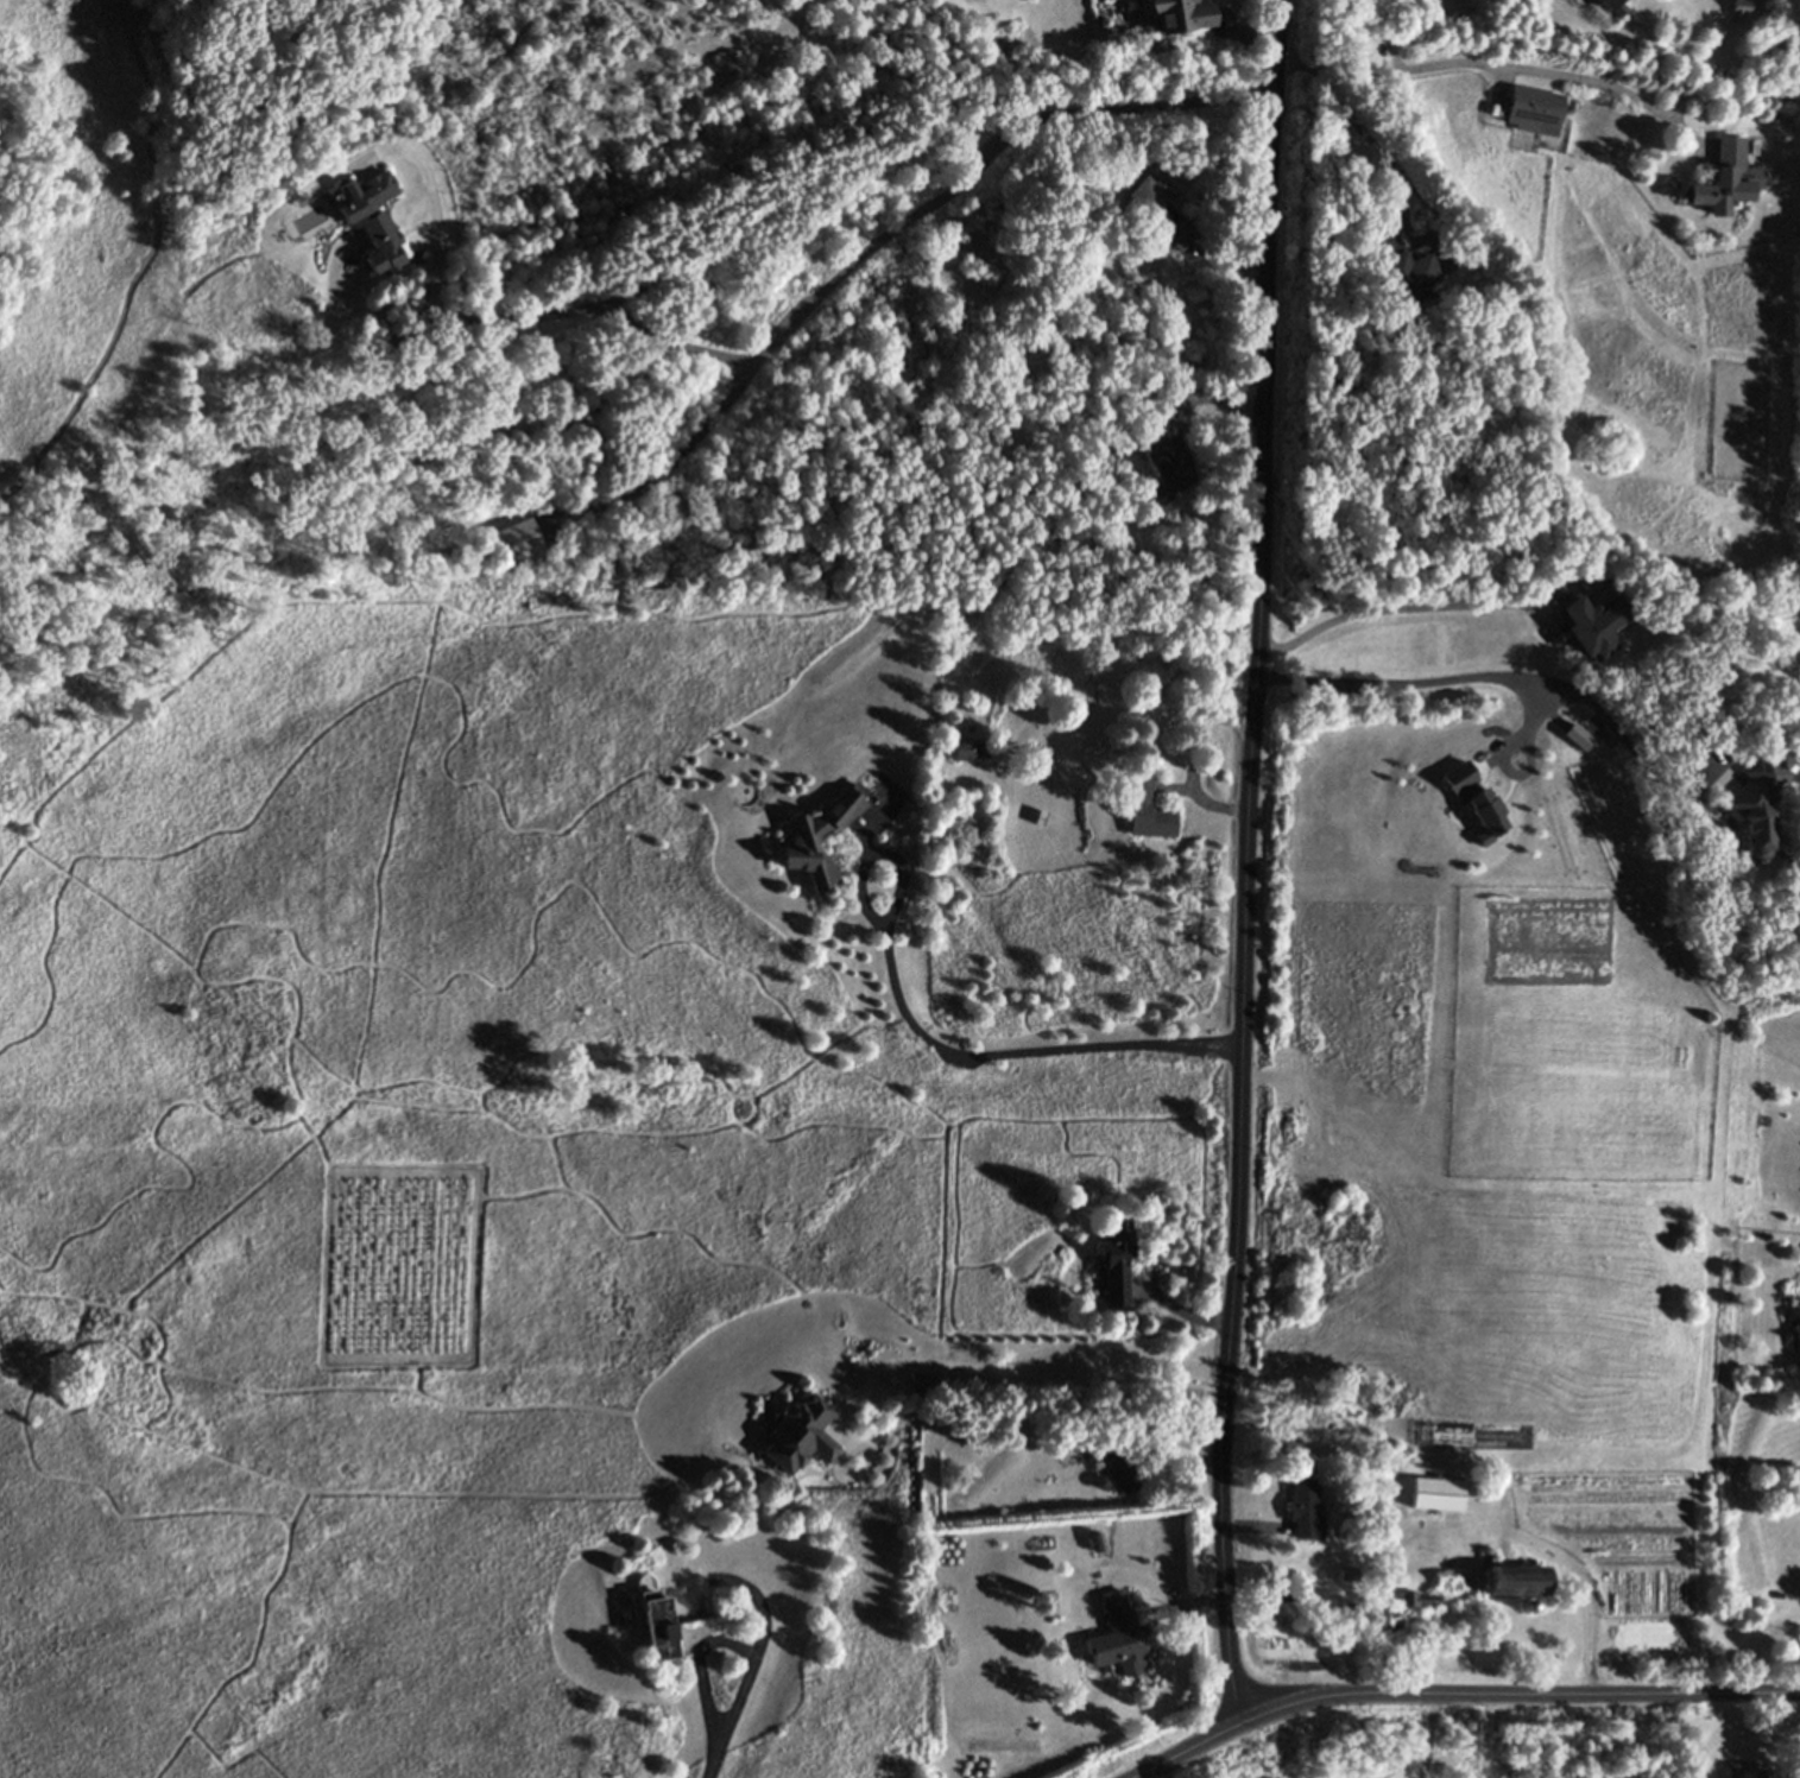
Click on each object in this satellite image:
building: (1612, 5)
building: (1738, 6)
building: (1177, 14)
building: (1021, 48)
road: (1501, 65)
building: (1534, 110)
road: (1363, 128)
building: (1728, 182)
building: (1157, 215)
building: (956, 240)
road: (146, 265)
building: (1400, 272)
building: (537, 311)
park: (1793, 328)
building: (528, 343)
road: (1790, 347)
road: (772, 349)
road: (683, 462)
building: (1169, 463)
building: (509, 548)
road: (1409, 608)
building: (1594, 624)
road: (1499, 676)
building: (970, 748)
building: (1756, 799)
building: (1147, 808)
building: (795, 839)
road: (1249, 861)
road: (928, 1042)
building: (1117, 1260)
park: (1724, 1314)
road: (1701, 1329)
road: (1010, 1367)
building: (802, 1432)
building: (1119, 1466)
building: (1426, 1495)
building: (1306, 1510)
building: (1379, 1520)
building: (1346, 1531)
building: (1347, 1574)
building: (1509, 1580)
building: (1447, 1581)
building: (1417, 1599)
building: (1387, 1614)
building: (653, 1615)
building: (1120, 1637)
road: (730, 1643)
road: (1527, 1695)
road: (1196, 1747)
road: (716, 1760)

